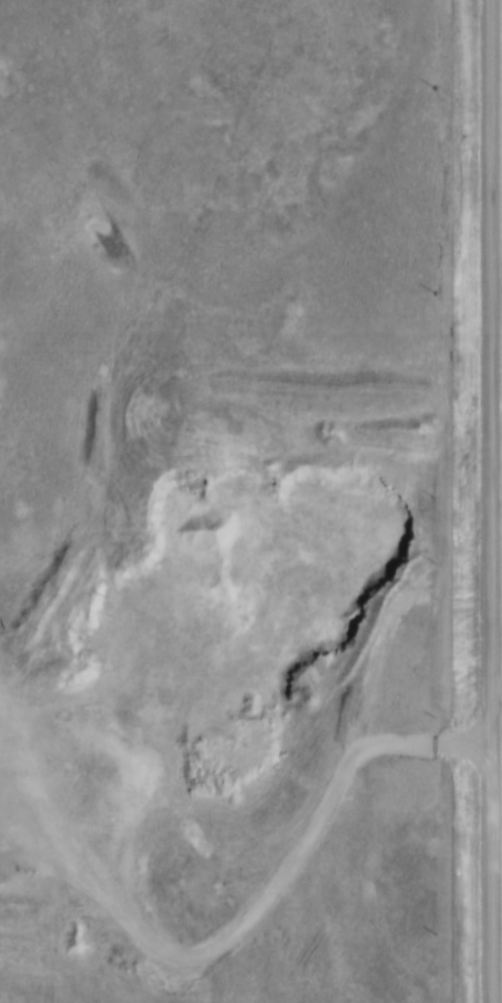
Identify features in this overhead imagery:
road: (490, 501)
quarry: (217, 659)
road: (264, 892)

